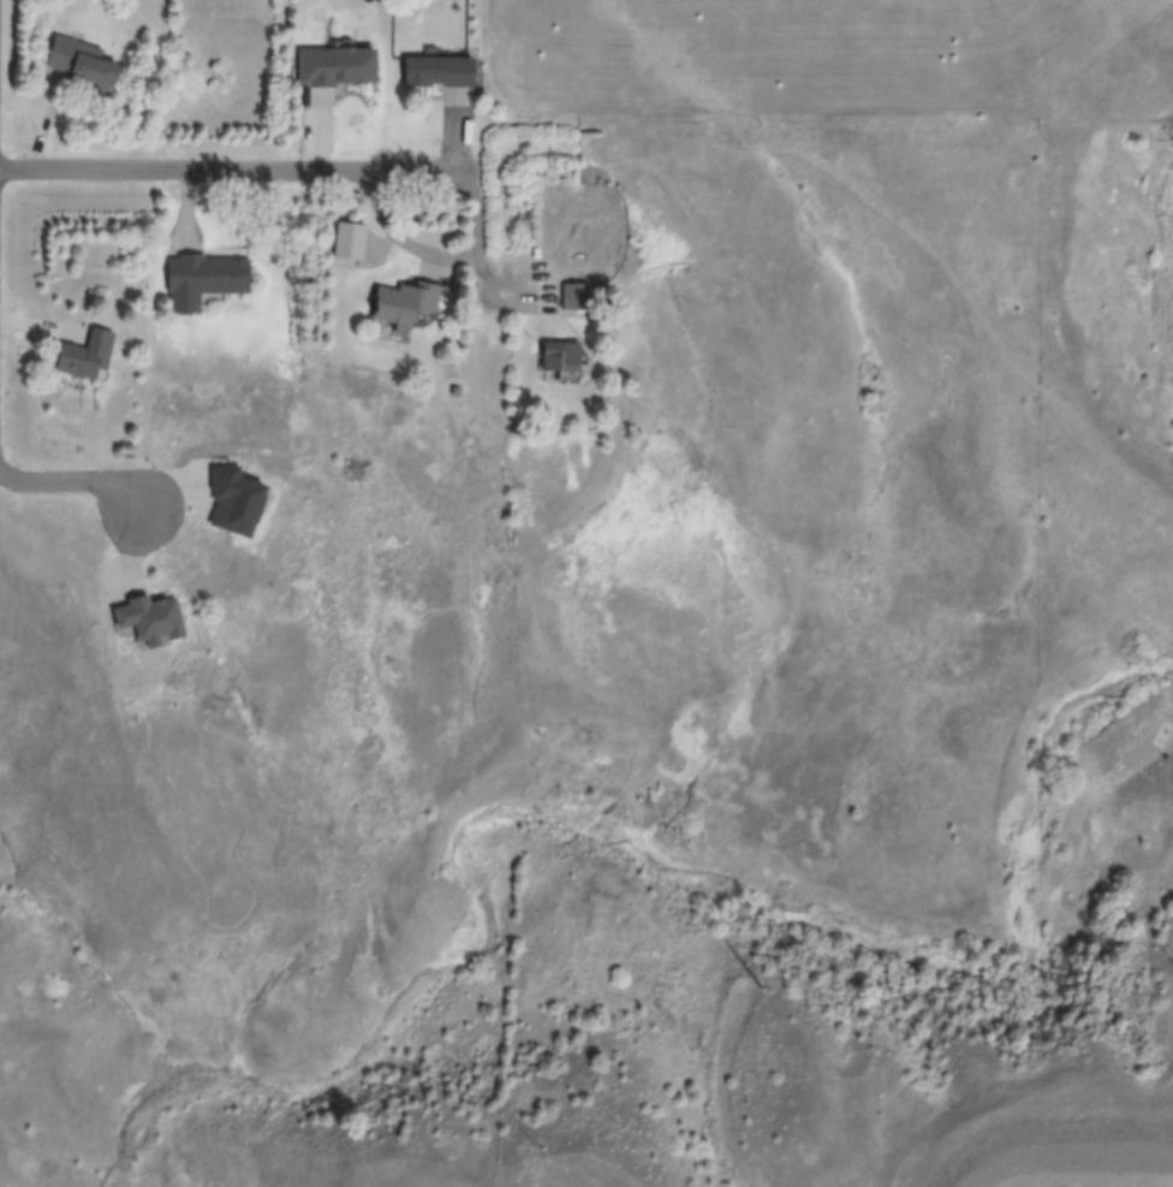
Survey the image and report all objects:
building: (79, 61)
building: (334, 64)
building: (436, 70)
road: (227, 170)
building: (346, 239)
building: (200, 278)
building: (573, 293)
building: (401, 302)
building: (84, 352)
building: (559, 354)
building: (453, 388)
road: (73, 479)
building: (232, 498)
building: (148, 617)

